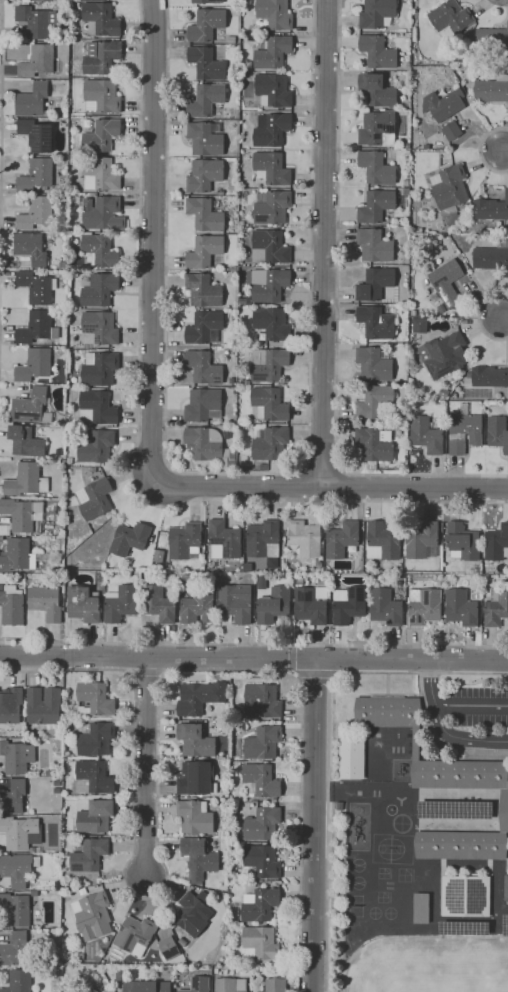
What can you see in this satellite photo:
building: (43, 0)
building: (206, 1)
road: (499, 4)
road: (1, 10)
building: (377, 13)
building: (275, 14)
building: (101, 19)
building: (450, 19)
building: (37, 21)
building: (207, 24)
building: (492, 39)
building: (273, 52)
building: (378, 52)
building: (100, 57)
building: (38, 61)
building: (207, 63)
building: (408, 65)
building: (246, 68)
building: (461, 73)
building: (244, 75)
building: (492, 89)
building: (273, 90)
building: (377, 90)
building: (103, 95)
building: (32, 100)
building: (206, 100)
building: (446, 111)
building: (66, 115)
building: (378, 129)
building: (271, 130)
building: (37, 134)
building: (102, 136)
building: (206, 138)
building: (408, 145)
building: (426, 147)
road: (480, 150)
road: (505, 150)
building: (271, 168)
building: (376, 168)
road: (1, 172)
building: (100, 174)
building: (37, 175)
building: (204, 175)
building: (406, 182)
building: (450, 187)
building: (407, 191)
road: (0, 204)
building: (379, 205)
building: (272, 207)
building: (492, 211)
building: (36, 212)
building: (102, 214)
building: (205, 214)
building: (453, 219)
building: (241, 224)
road: (153, 240)
road: (0, 242)
road: (325, 243)
building: (375, 245)
building: (269, 247)
building: (32, 249)
building: (100, 250)
building: (205, 251)
building: (492, 257)
building: (62, 264)
building: (234, 268)
building: (234, 272)
building: (447, 282)
building: (376, 283)
building: (268, 284)
building: (36, 287)
building: (100, 289)
building: (204, 291)
building: (245, 301)
building: (413, 313)
road: (478, 317)
road: (504, 318)
road: (338, 319)
building: (377, 322)
building: (272, 323)
building: (419, 325)
building: (101, 327)
building: (205, 327)
building: (37, 328)
building: (60, 352)
building: (443, 354)
building: (35, 365)
building: (268, 365)
building: (374, 365)
building: (203, 367)
building: (100, 368)
building: (488, 376)
building: (453, 380)
building: (231, 381)
building: (247, 382)
building: (444, 393)
building: (374, 401)
building: (270, 404)
building: (30, 405)
building: (203, 405)
building: (98, 409)
building: (464, 430)
building: (498, 432)
building: (227, 434)
road: (138, 435)
building: (426, 435)
building: (26, 442)
building: (270, 444)
building: (374, 445)
building: (96, 446)
building: (209, 446)
building: (59, 452)
building: (69, 460)
building: (263, 467)
road: (323, 469)
road: (237, 473)
building: (27, 480)
road: (292, 487)
road: (330, 487)
road: (352, 487)
building: (95, 499)
building: (20, 515)
building: (305, 537)
building: (130, 539)
building: (342, 539)
building: (383, 539)
building: (421, 539)
building: (224, 540)
building: (185, 541)
building: (265, 541)
building: (463, 542)
building: (497, 543)
building: (21, 556)
building: (159, 556)
building: (155, 566)
building: (248, 567)
building: (164, 569)
building: (158, 577)
building: (187, 577)
building: (298, 581)
building: (46, 603)
building: (84, 603)
building: (236, 603)
building: (121, 604)
building: (159, 604)
building: (348, 604)
building: (274, 605)
building: (311, 605)
building: (12, 606)
building: (424, 606)
building: (197, 607)
building: (385, 607)
building: (496, 607)
building: (460, 608)
road: (253, 643)
road: (291, 657)
road: (253, 658)
road: (314, 673)
road: (387, 685)
building: (199, 697)
building: (94, 699)
building: (262, 702)
road: (471, 703)
building: (43, 705)
building: (11, 706)
road: (442, 727)
building: (66, 728)
building: (96, 738)
road: (439, 739)
building: (195, 740)
building: (262, 743)
road: (328, 745)
road: (159, 752)
track: (377, 753)
building: (17, 756)
building: (352, 757)
road: (146, 766)
building: (93, 778)
building: (196, 778)
building: (261, 781)
building: (442, 782)
building: (56, 789)
building: (13, 798)
building: (455, 809)
building: (96, 816)
building: (195, 817)
building: (262, 823)
road: (315, 825)
building: (19, 831)
park: (388, 848)
building: (32, 850)
building: (90, 855)
building: (199, 859)
building: (262, 860)
building: (18, 869)
building: (58, 885)
park: (389, 887)
building: (506, 888)
building: (83, 891)
building: (34, 893)
building: (465, 896)
building: (260, 904)
park: (354, 906)
building: (234, 908)
building: (420, 908)
building: (16, 909)
building: (193, 913)
building: (93, 915)
building: (505, 924)
building: (464, 928)
building: (135, 935)
building: (183, 942)
building: (260, 943)
building: (168, 947)
building: (14, 950)
building: (82, 955)
building: (106, 967)
building: (216, 970)
building: (121, 973)
building: (19, 981)
building: (198, 985)
building: (231, 985)
building: (272, 985)
building: (147, 986)
building: (90, 990)
building: (93, 990)

